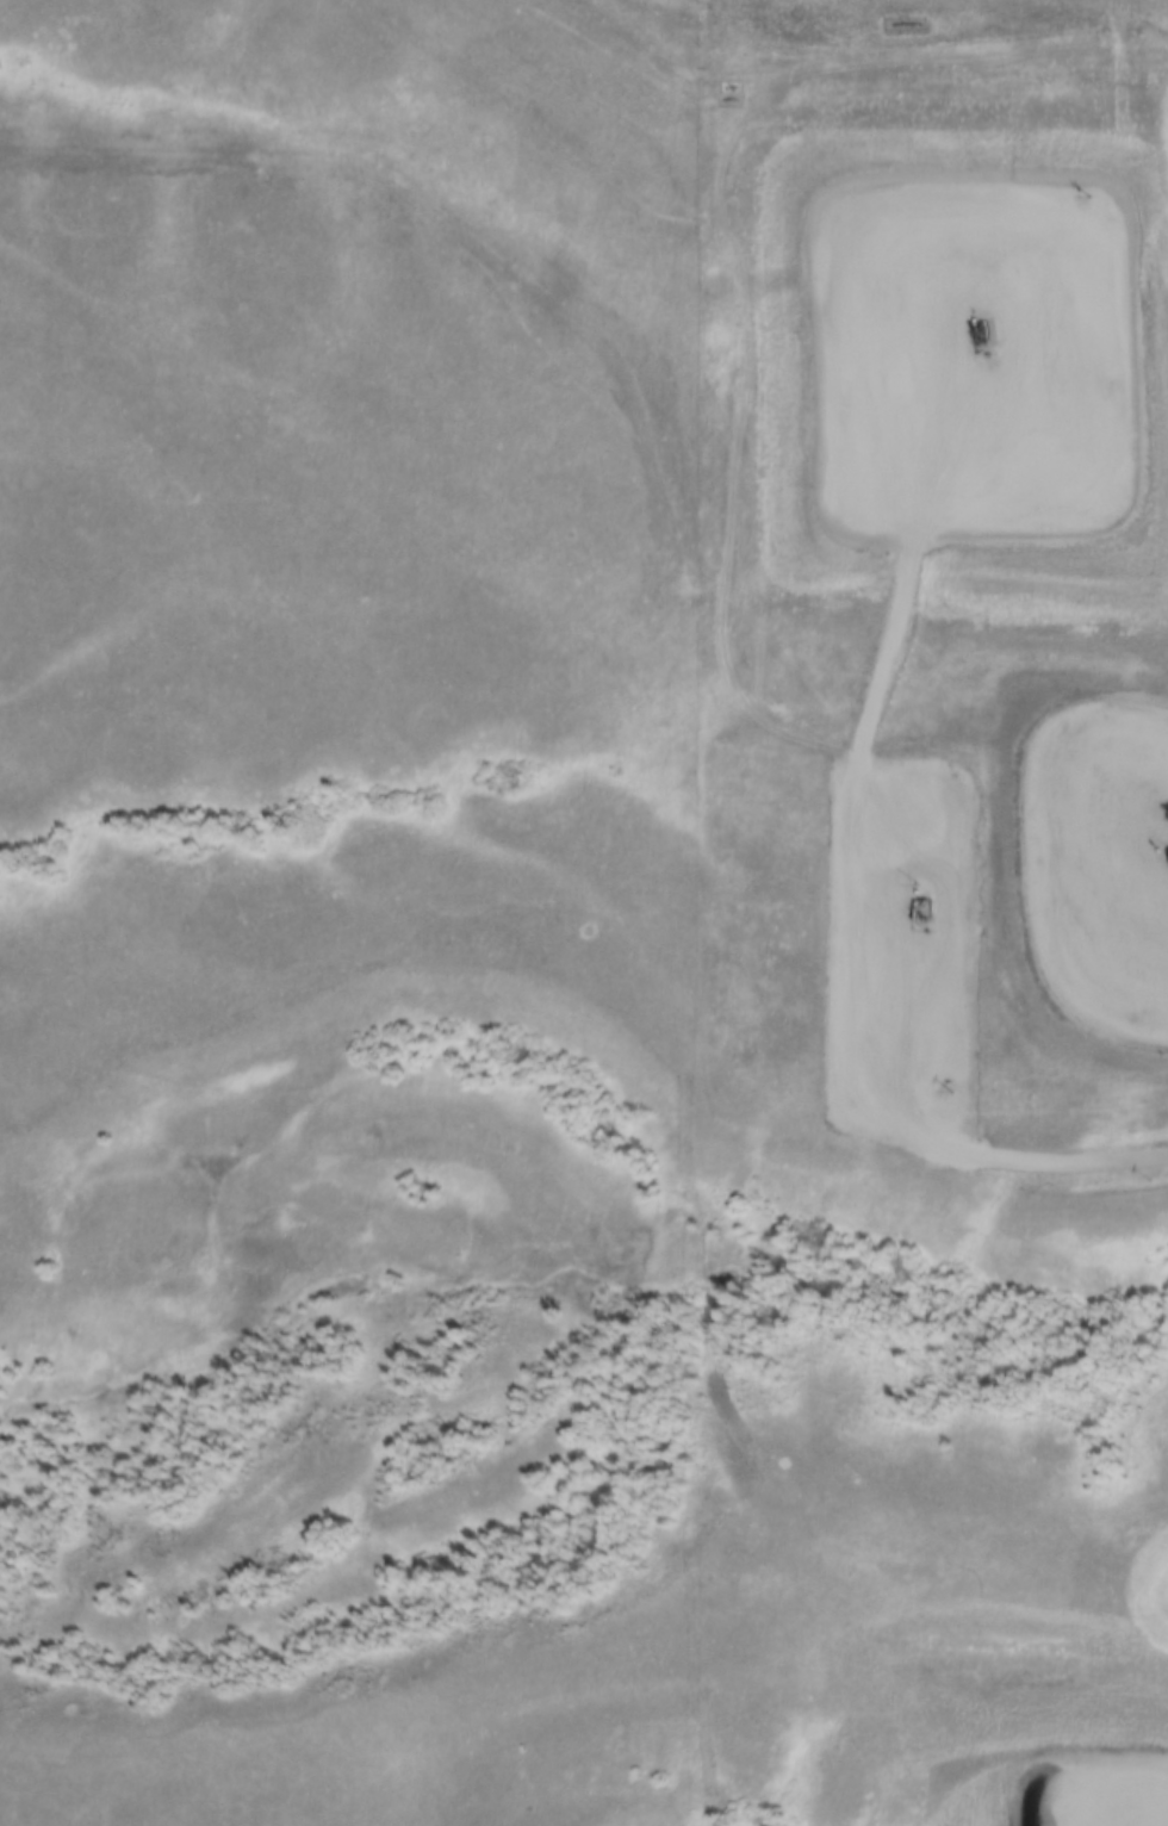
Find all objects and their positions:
road: (880, 917)

